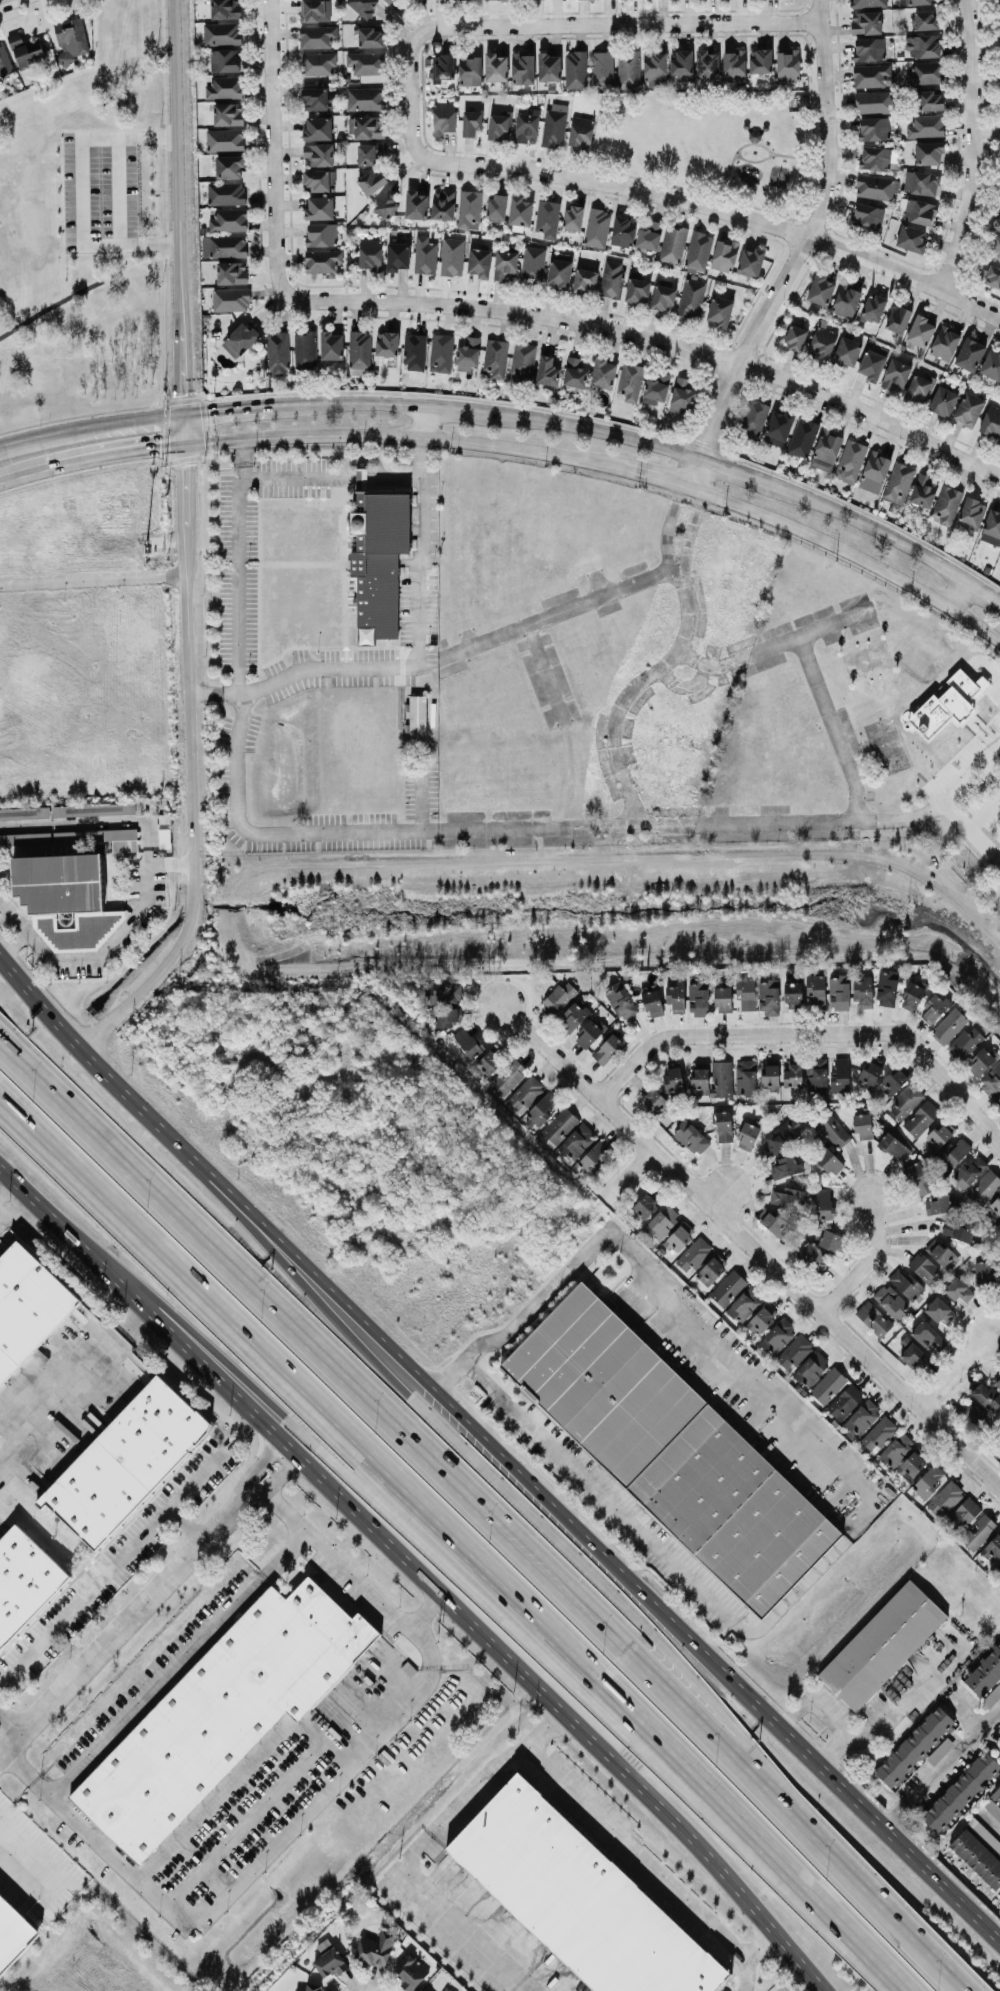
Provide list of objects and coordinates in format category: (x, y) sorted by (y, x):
building: (388, 1)
road: (7, 2)
building: (915, 2)
building: (999, 2)
building: (867, 3)
building: (363, 6)
building: (226, 8)
building: (311, 10)
building: (926, 20)
building: (866, 22)
road: (622, 24)
building: (222, 33)
building: (317, 36)
building: (371, 37)
building: (71, 38)
building: (923, 45)
building: (869, 48)
building: (26, 49)
building: (226, 60)
building: (760, 60)
building: (5, 62)
building: (367, 62)
building: (318, 63)
building: (681, 64)
building: (707, 64)
building: (734, 64)
building: (788, 64)
building: (496, 66)
building: (549, 66)
building: (442, 67)
building: (522, 67)
building: (602, 68)
building: (628, 68)
building: (655, 68)
building: (470, 69)
building: (575, 69)
building: (928, 71)
building: (872, 75)
building: (225, 87)
building: (315, 98)
building: (365, 98)
building: (929, 100)
building: (874, 101)
building: (228, 113)
building: (444, 116)
building: (471, 122)
building: (926, 125)
building: (366, 126)
building: (498, 126)
building: (317, 127)
building: (527, 127)
building: (554, 127)
building: (873, 128)
building: (581, 131)
building: (225, 139)
park: (708, 141)
road: (975, 147)
road: (273, 148)
building: (370, 152)
building: (928, 152)
building: (318, 154)
road: (799, 156)
building: (878, 157)
road: (731, 160)
road: (752, 160)
building: (229, 166)
building: (320, 180)
building: (371, 181)
building: (921, 182)
building: (876, 187)
road: (111, 190)
parking lot: (123, 190)
road: (81, 191)
road: (138, 191)
building: (226, 192)
road: (657, 192)
building: (443, 203)
building: (416, 204)
building: (386, 205)
building: (496, 205)
road: (181, 207)
building: (319, 207)
building: (469, 209)
building: (919, 211)
building: (520, 212)
building: (869, 215)
building: (573, 216)
building: (547, 218)
building: (229, 220)
building: (998, 224)
building: (597, 227)
building: (623, 230)
building: (321, 234)
building: (650, 235)
building: (911, 238)
building: (673, 243)
building: (227, 245)
building: (996, 248)
building: (699, 251)
road: (800, 252)
building: (370, 253)
building: (397, 255)
building: (425, 255)
building: (724, 255)
building: (452, 256)
building: (322, 260)
building: (751, 261)
building: (480, 262)
building: (533, 264)
building: (506, 265)
building: (232, 272)
building: (559, 272)
building: (991, 274)
building: (611, 278)
building: (585, 280)
building: (820, 289)
building: (637, 290)
road: (71, 295)
building: (663, 297)
building: (691, 297)
building: (231, 299)
building: (846, 299)
building: (873, 308)
building: (719, 310)
building: (898, 319)
building: (920, 330)
road: (655, 338)
building: (795, 338)
building: (240, 339)
building: (822, 342)
building: (387, 343)
building: (944, 343)
building: (331, 345)
building: (360, 349)
building: (305, 350)
building: (414, 351)
building: (847, 351)
building: (441, 352)
building: (277, 353)
building: (468, 354)
building: (970, 354)
building: (496, 356)
building: (523, 360)
building: (871, 364)
building: (991, 364)
building: (547, 370)
building: (575, 372)
building: (603, 372)
building: (896, 374)
building: (630, 381)
building: (657, 386)
building: (918, 388)
building: (682, 395)
building: (943, 400)
building: (968, 408)
building: (753, 417)
building: (991, 420)
road: (422, 421)
road: (111, 426)
building: (779, 427)
road: (185, 428)
road: (610, 432)
road: (330, 433)
building: (802, 437)
road: (214, 440)
road: (19, 443)
road: (419, 443)
road: (242, 448)
building: (826, 449)
road: (521, 450)
road: (116, 452)
building: (850, 460)
road: (23, 470)
building: (874, 471)
road: (343, 475)
road: (656, 475)
building: (899, 482)
building: (924, 490)
building: (947, 505)
building: (971, 513)
building: (992, 527)
road: (849, 553)
building: (379, 560)
road: (673, 563)
road: (94, 580)
road: (240, 583)
road: (957, 594)
road: (593, 597)
road: (429, 656)
road: (419, 658)
road: (663, 663)
road: (206, 689)
building: (946, 703)
building: (417, 713)
road: (192, 766)
building: (93, 808)
building: (24, 812)
road: (117, 820)
road: (566, 825)
road: (970, 831)
building: (164, 832)
building: (104, 837)
building: (25, 838)
building: (66, 899)
road: (12, 939)
road: (92, 956)
building: (887, 987)
building: (816, 988)
building: (863, 991)
building: (746, 992)
building: (839, 992)
building: (913, 993)
building: (794, 994)
building: (559, 996)
building: (676, 996)
building: (698, 997)
building: (769, 997)
building: (723, 998)
building: (620, 1000)
building: (653, 1001)
building: (445, 1003)
building: (934, 1007)
building: (574, 1014)
building: (949, 1025)
road: (723, 1030)
building: (589, 1032)
building: (468, 1041)
building: (966, 1042)
building: (607, 1048)
building: (982, 1060)
building: (488, 1061)
road: (940, 1068)
building: (817, 1071)
building: (870, 1072)
building: (793, 1073)
building: (770, 1075)
building: (840, 1075)
building: (508, 1076)
building: (673, 1077)
building: (700, 1077)
building: (746, 1077)
building: (721, 1078)
building: (991, 1080)
building: (893, 1081)
building: (525, 1093)
building: (653, 1098)
building: (998, 1099)
building: (906, 1100)
building: (543, 1107)
building: (921, 1118)
building: (560, 1125)
building: (723, 1125)
building: (863, 1125)
building: (833, 1129)
building: (748, 1134)
building: (780, 1135)
building: (939, 1135)
building: (691, 1137)
building: (577, 1141)
building: (894, 1146)
building: (954, 1151)
building: (594, 1157)
building: (829, 1161)
building: (786, 1166)
building: (969, 1170)
road: (627, 1173)
building: (918, 1178)
building: (984, 1187)
road: (720, 1191)
building: (787, 1197)
building: (824, 1202)
building: (938, 1203)
building: (642, 1206)
building: (996, 1208)
building: (772, 1221)
building: (661, 1222)
building: (958, 1231)
building: (679, 1236)
building: (829, 1238)
road: (752, 1242)
building: (942, 1253)
building: (694, 1254)
building: (812, 1257)
road: (868, 1261)
building: (925, 1268)
building: (710, 1269)
building: (985, 1269)
road: (643, 1273)
building: (906, 1283)
building: (998, 1284)
building: (728, 1287)
building: (959, 1290)
building: (890, 1300)
building: (745, 1304)
building: (28, 1305)
building: (939, 1310)
building: (762, 1317)
building: (873, 1318)
building: (927, 1335)
building: (778, 1336)
building: (794, 1351)
building: (910, 1353)
building: (811, 1368)
road: (955, 1372)
building: (998, 1382)
building: (828, 1385)
building: (987, 1395)
building: (845, 1401)
road: (50, 1406)
road: (363, 1407)
building: (969, 1410)
building: (861, 1418)
building: (878, 1433)
building: (999, 1443)
road: (332, 1446)
road: (496, 1447)
building: (670, 1449)
building: (896, 1449)
road: (452, 1450)
building: (126, 1461)
road: (260, 1464)
building: (911, 1465)
road: (274, 1477)
building: (929, 1480)
road: (600, 1491)
building: (945, 1497)
building: (967, 1509)
road: (185, 1523)
road: (465, 1529)
building: (979, 1531)
building: (992, 1548)
road: (117, 1559)
road: (422, 1569)
building: (998, 1569)
building: (24, 1580)
road: (426, 1607)
road: (121, 1624)
building: (882, 1645)
road: (178, 1662)
building: (985, 1672)
building: (992, 1696)
road: (893, 1705)
road: (817, 1706)
road: (397, 1709)
building: (222, 1712)
road: (10, 1720)
building: (999, 1729)
building: (914, 1746)
building: (940, 1750)
road: (493, 1765)
road: (943, 1767)
road: (227, 1786)
building: (960, 1791)
building: (997, 1793)
building: (993, 1808)
road: (253, 1812)
road: (995, 1824)
building: (984, 1833)
road: (95, 1836)
road: (637, 1849)
road: (29, 1856)
building: (977, 1857)
road: (841, 1875)
building: (999, 1894)
building: (579, 1898)
road: (444, 1913)
building: (13, 1933)
building: (323, 1944)
building: (376, 1947)
road: (745, 1953)
building: (331, 1961)
building: (410, 1971)
building: (312, 1987)
building: (447, 1989)
building: (422, 1990)

